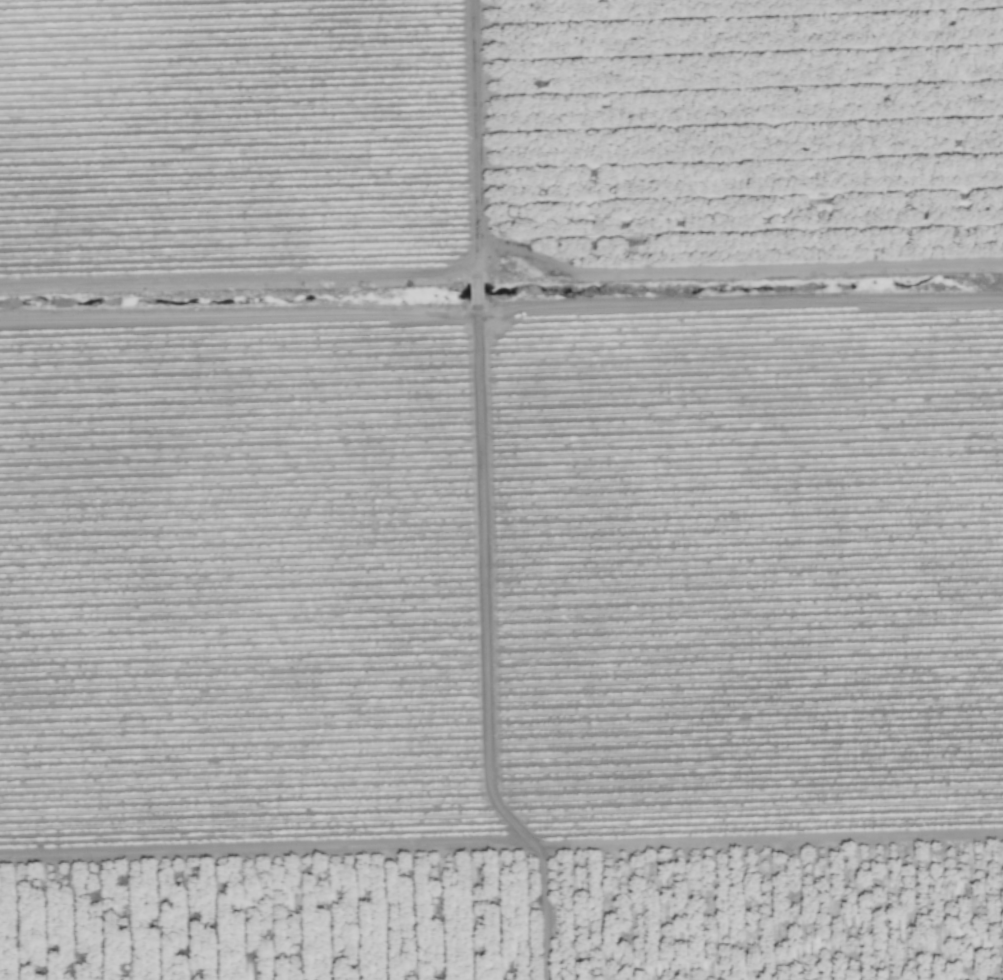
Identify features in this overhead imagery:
road: (607, 285)
road: (473, 296)
road: (501, 840)
road: (540, 910)

